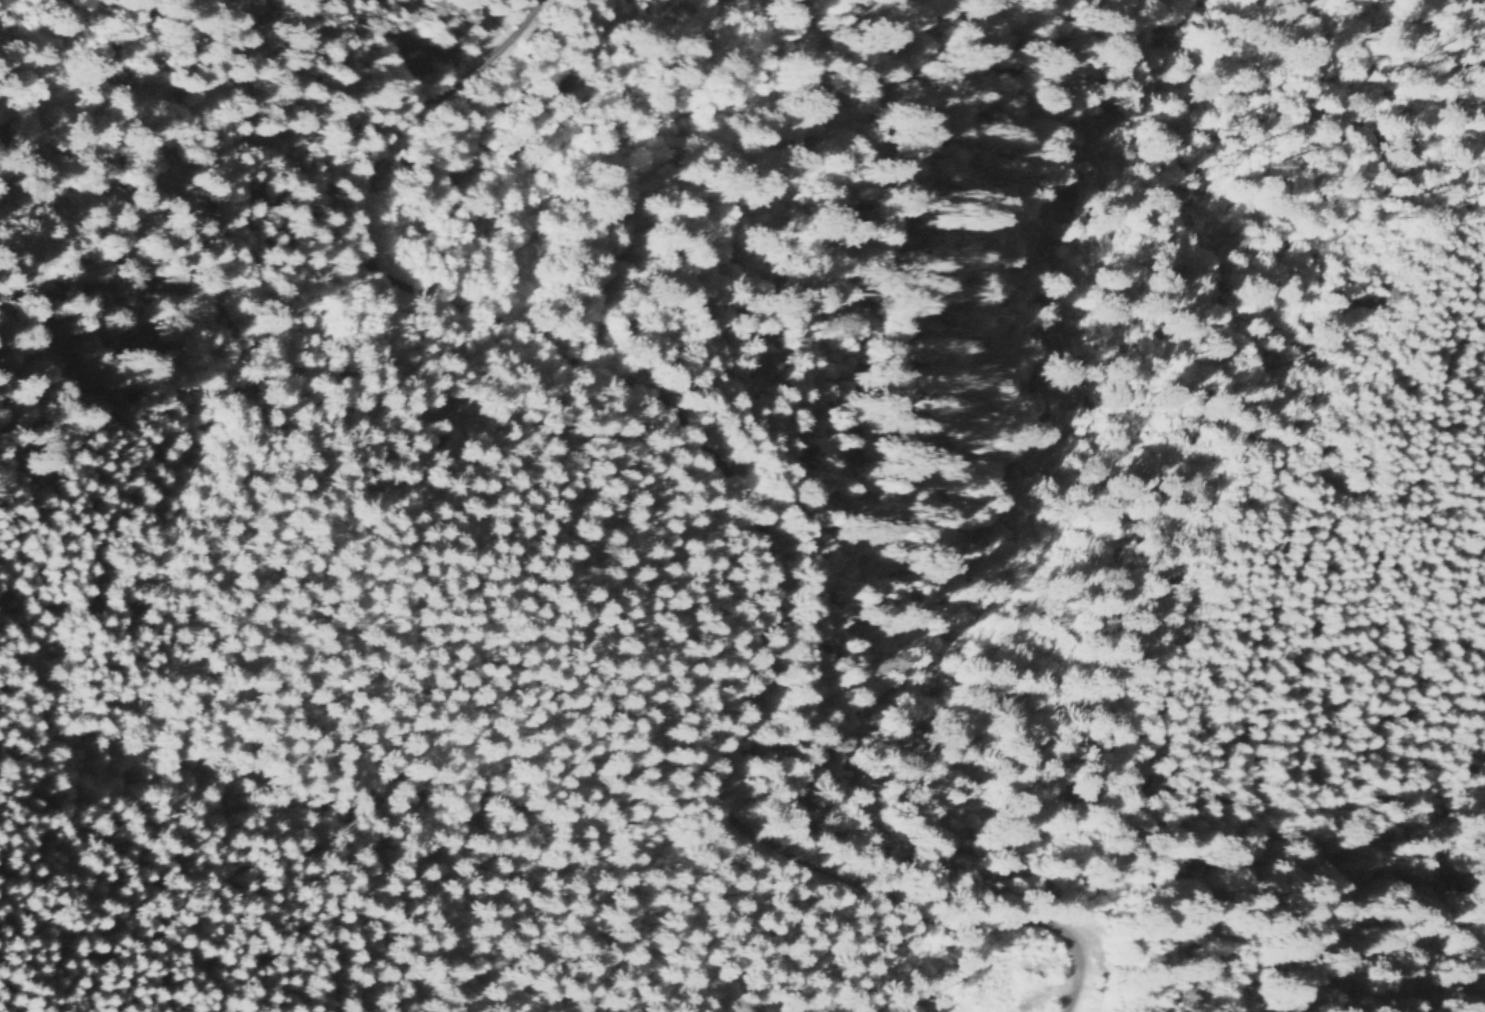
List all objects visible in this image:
road: (728, 509)

